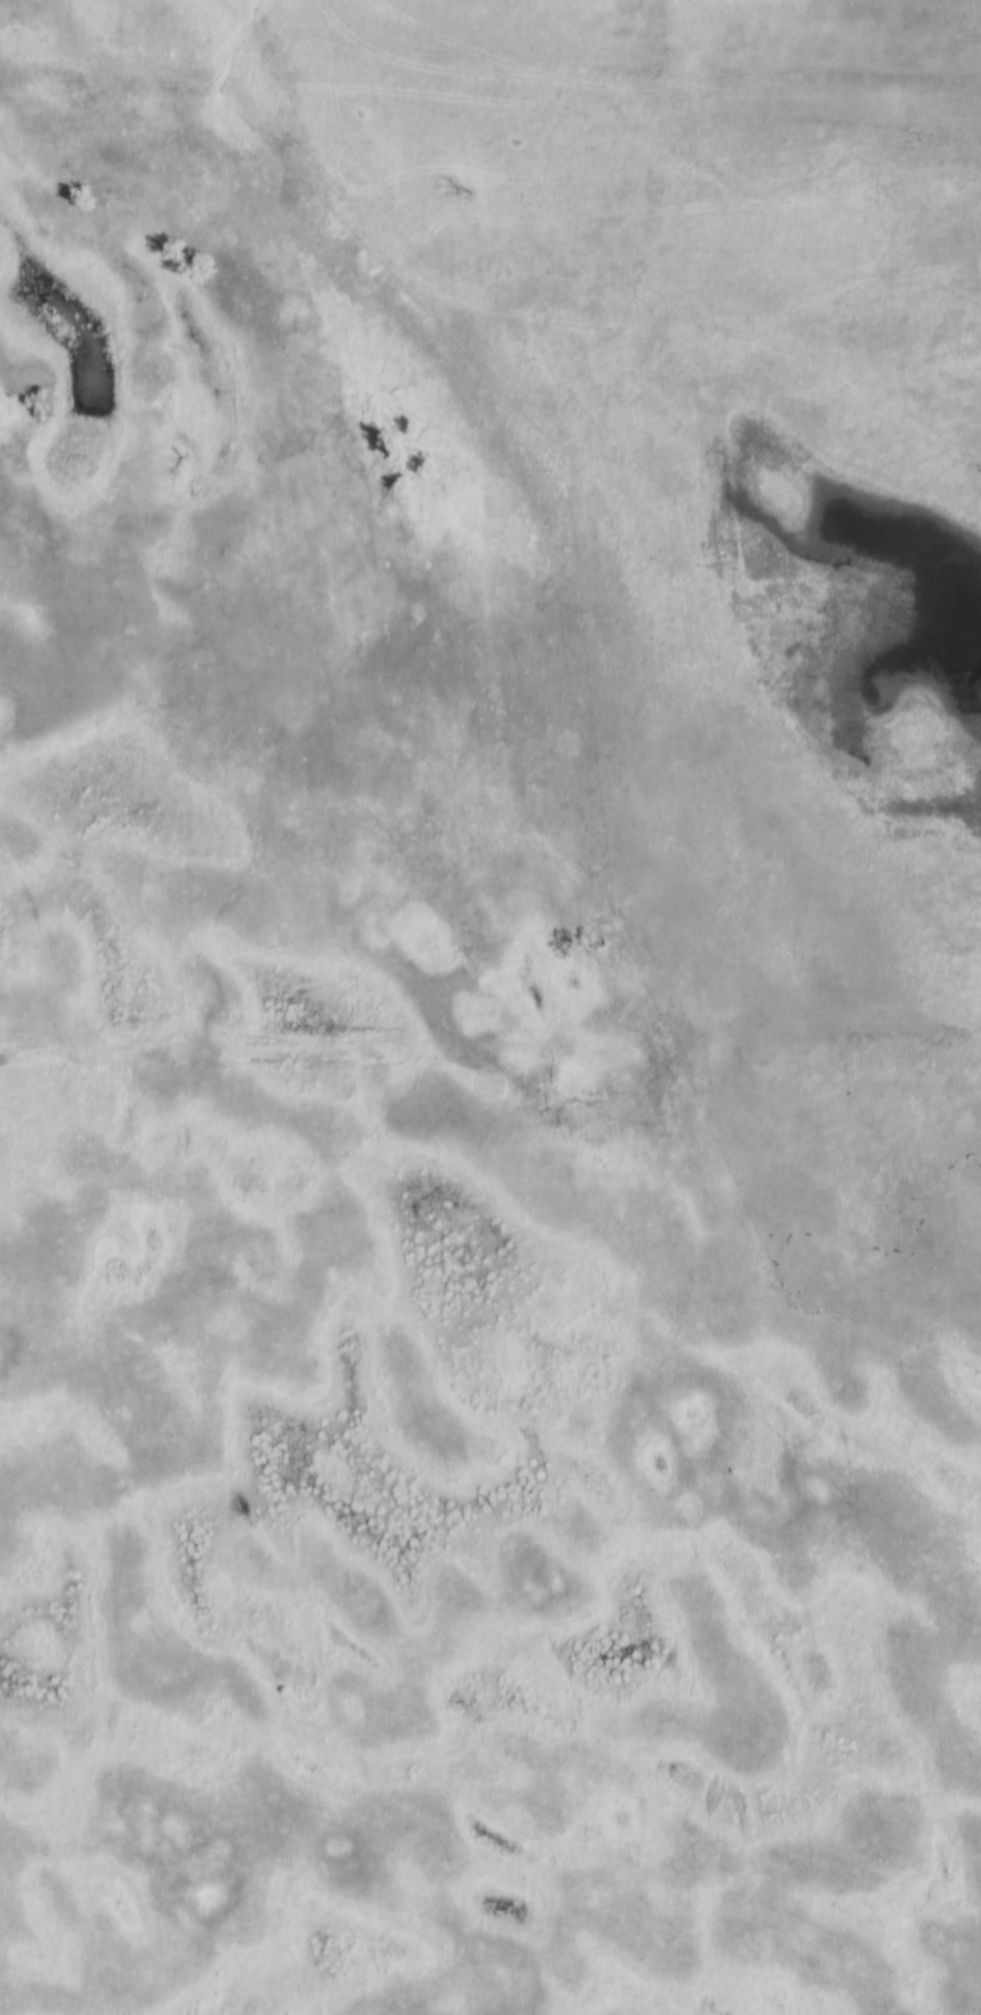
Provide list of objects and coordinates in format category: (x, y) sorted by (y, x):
road: (612, 114)

